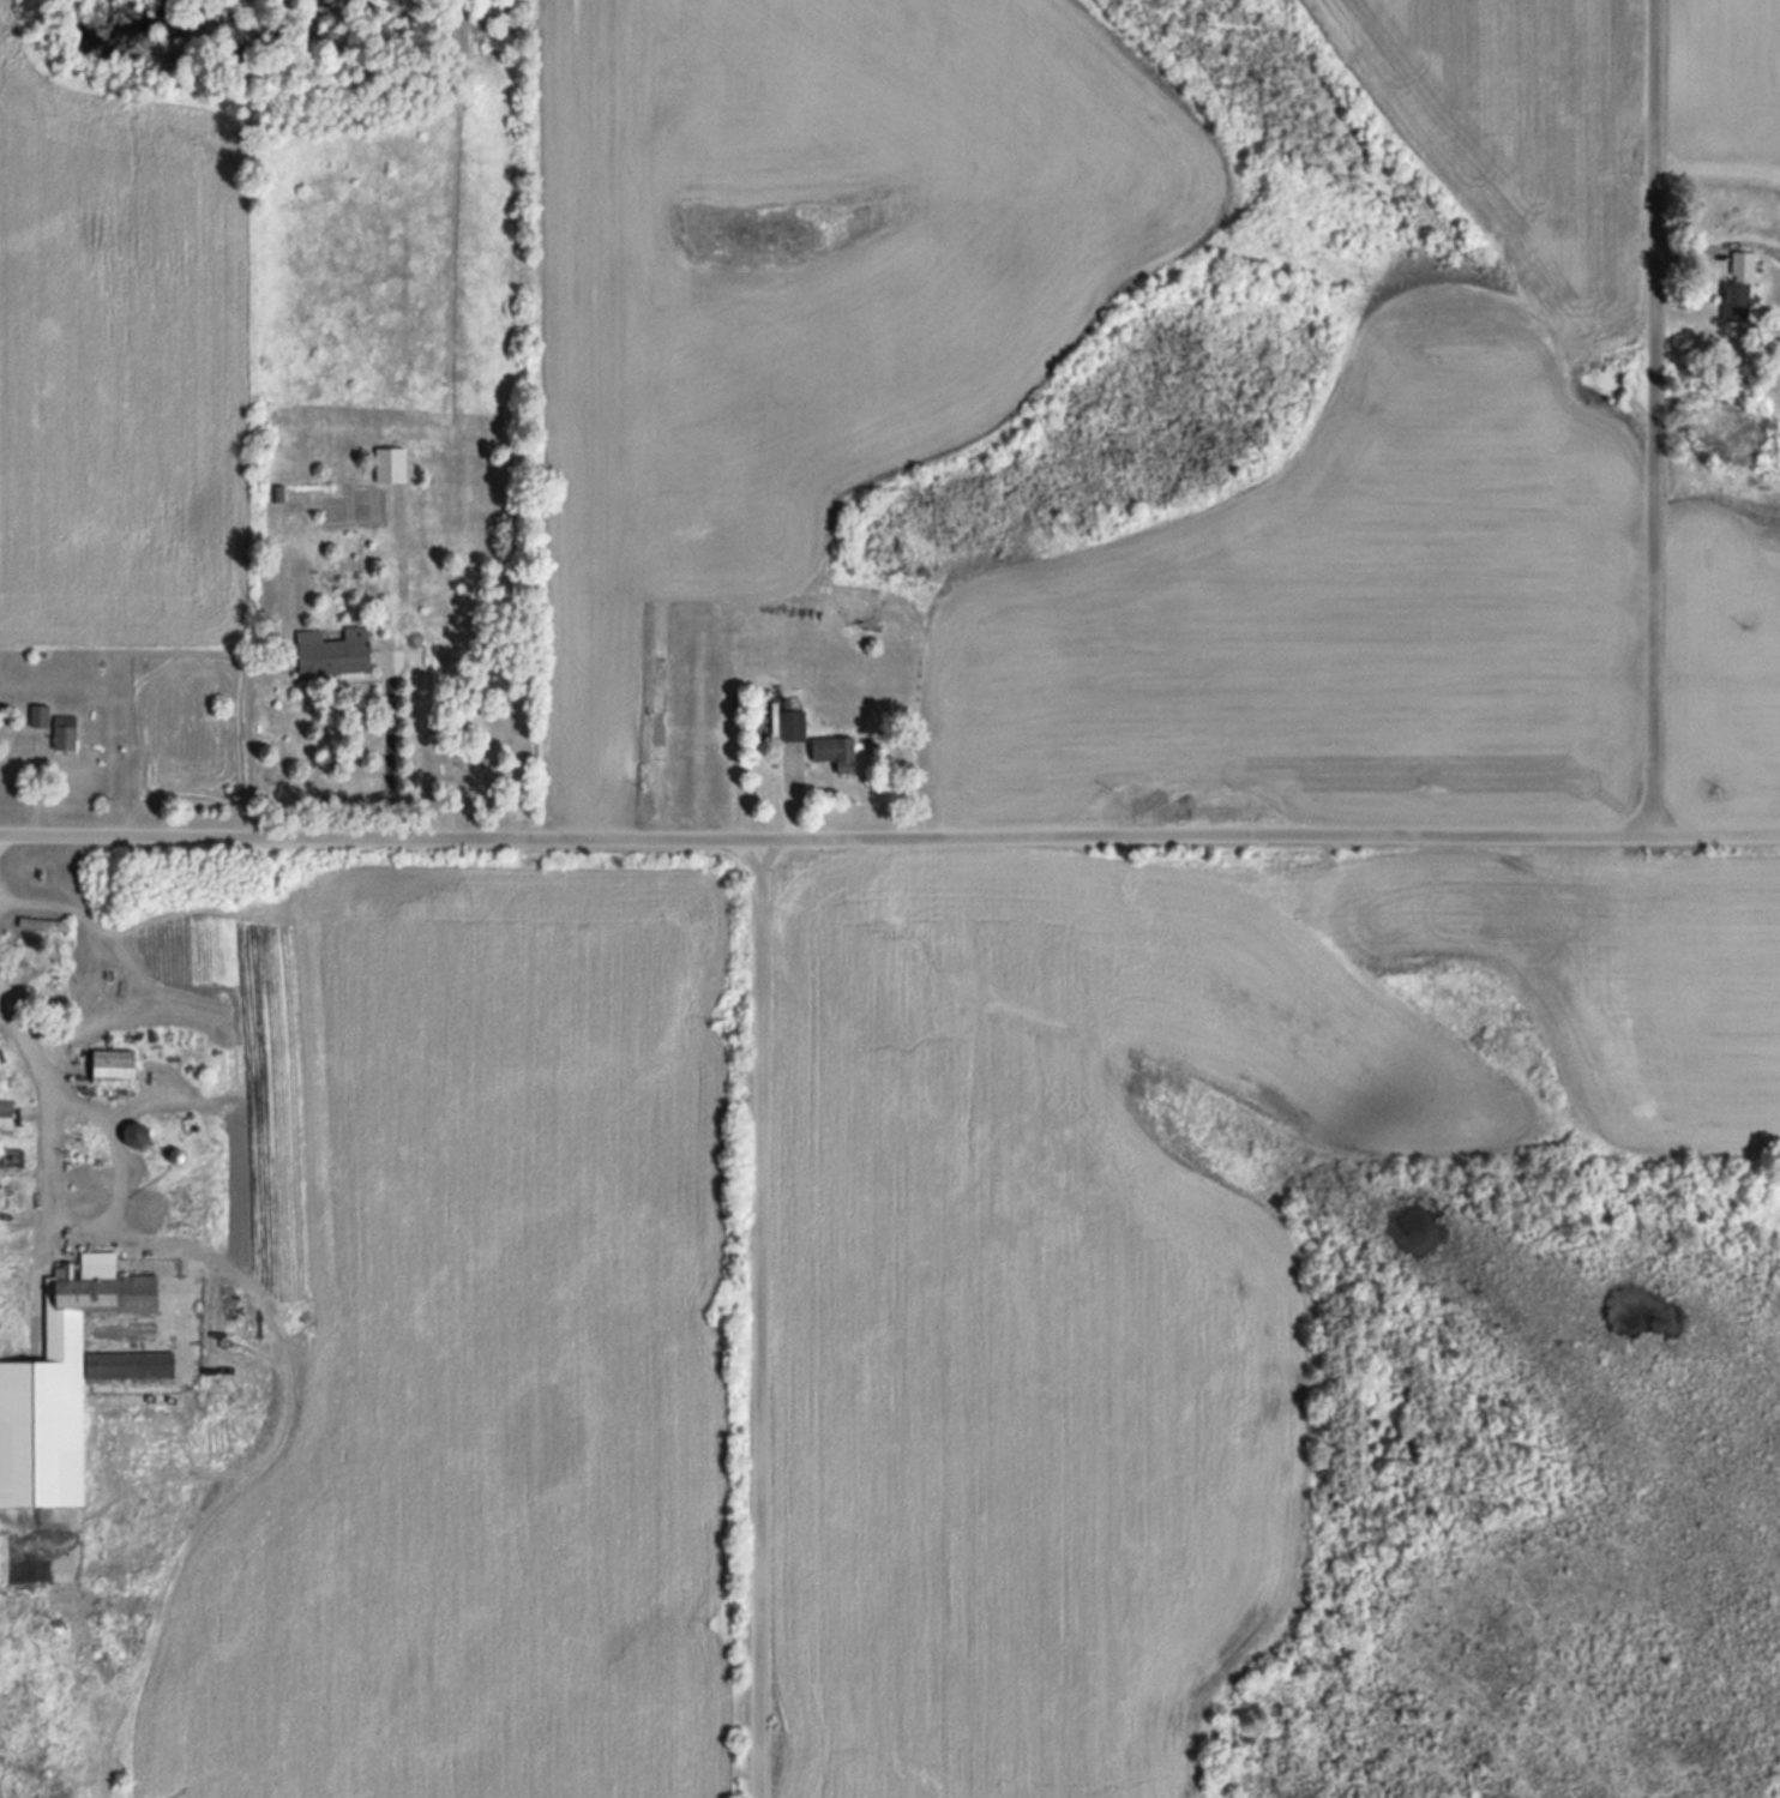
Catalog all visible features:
building: (1738, 287)
road: (1649, 417)
building: (389, 463)
building: (332, 650)
building: (37, 714)
building: (789, 722)
building: (62, 730)
building: (835, 750)
road: (1714, 834)
road: (823, 835)
building: (40, 921)
building: (112, 1065)
building: (6, 1114)
building: (136, 1132)
building: (77, 1136)
building: (6, 1156)
road: (765, 1316)
building: (59, 1383)

